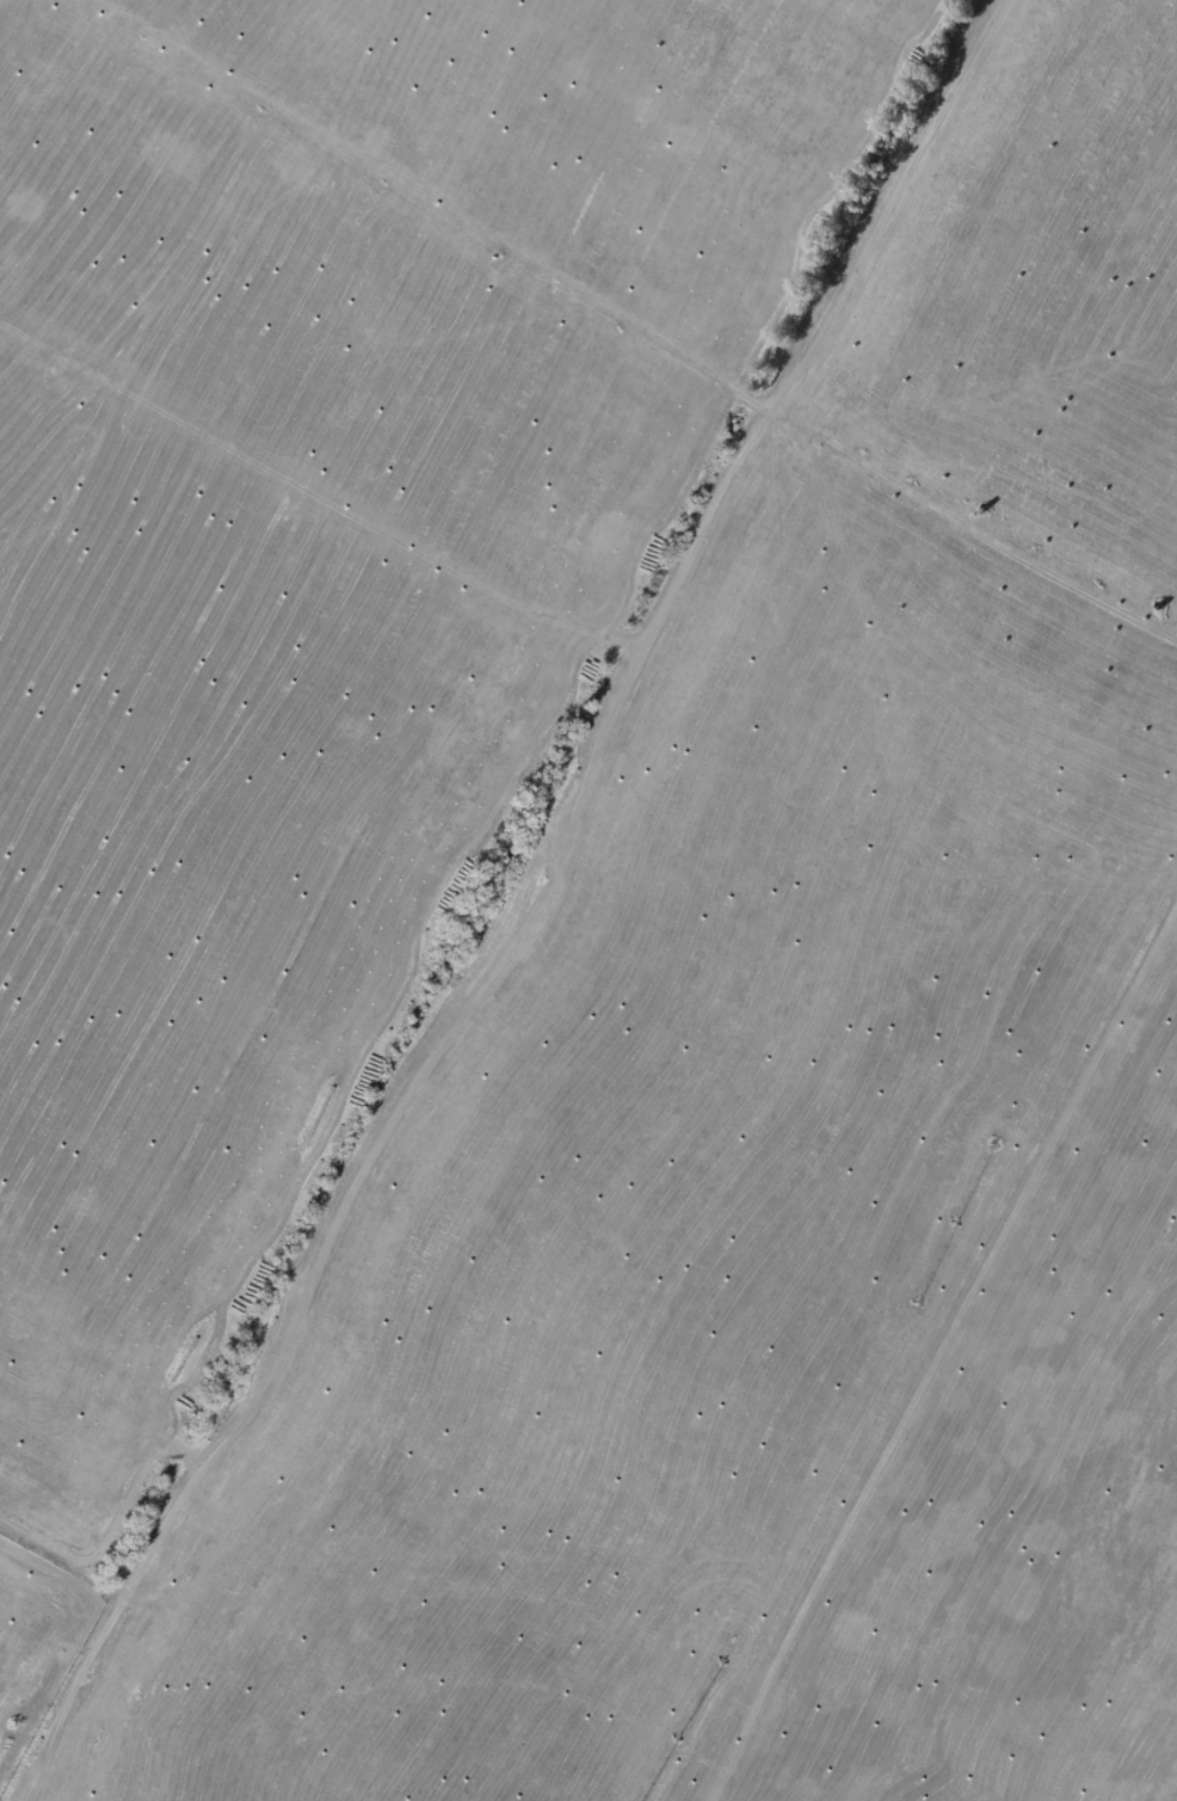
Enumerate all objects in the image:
crop: (588, 900)
road: (531, 905)

